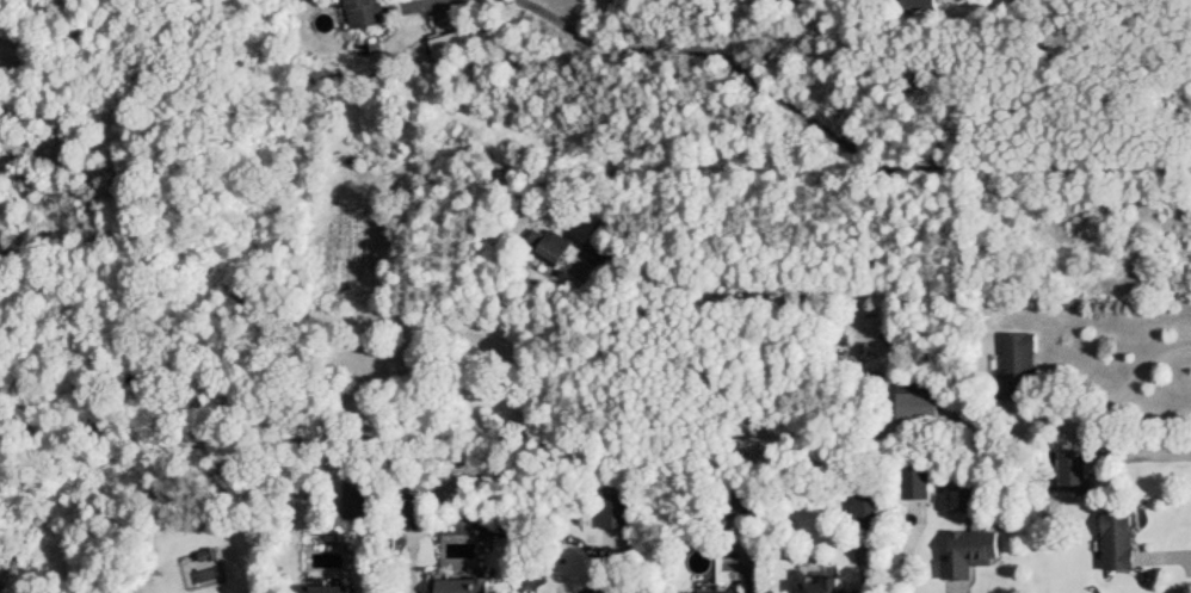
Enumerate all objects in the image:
road: (425, 0)
building: (915, 5)
building: (360, 13)
road: (833, 126)
road: (1177, 163)
road: (739, 187)
building: (545, 246)
building: (650, 271)
building: (1016, 363)
road: (1129, 387)
building: (915, 408)
road: (1147, 451)
building: (1072, 471)
building: (734, 500)
building: (613, 511)
building: (865, 511)
building: (411, 512)
building: (1117, 542)
building: (968, 552)
road: (748, 569)
building: (461, 585)
building: (815, 586)
building: (327, 589)
building: (702, 592)

